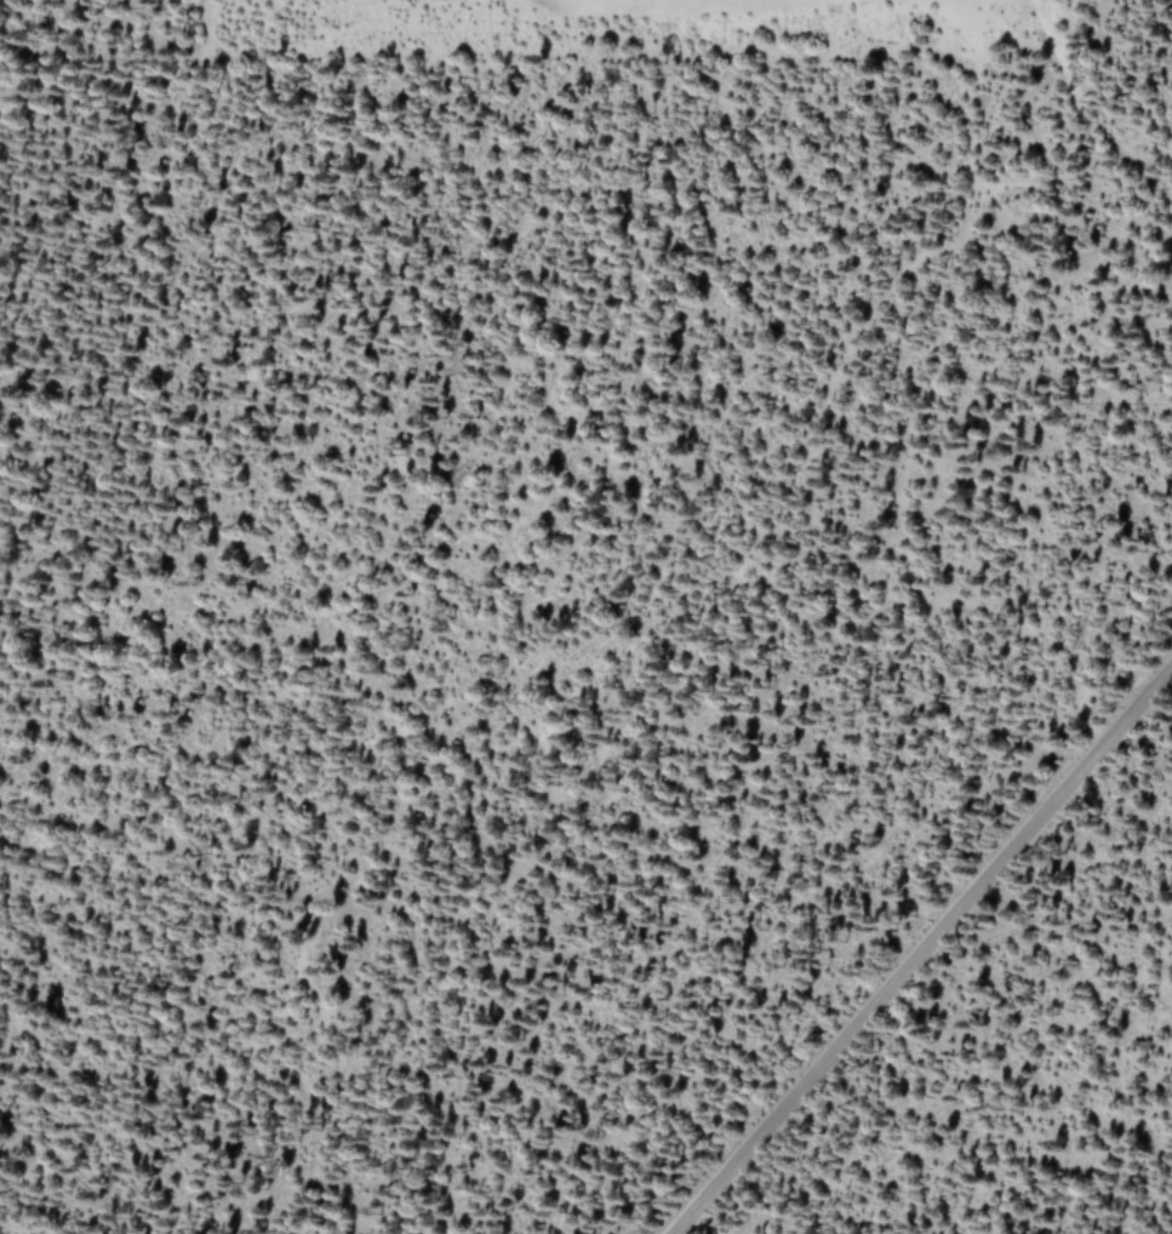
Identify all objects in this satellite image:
road: (922, 949)

